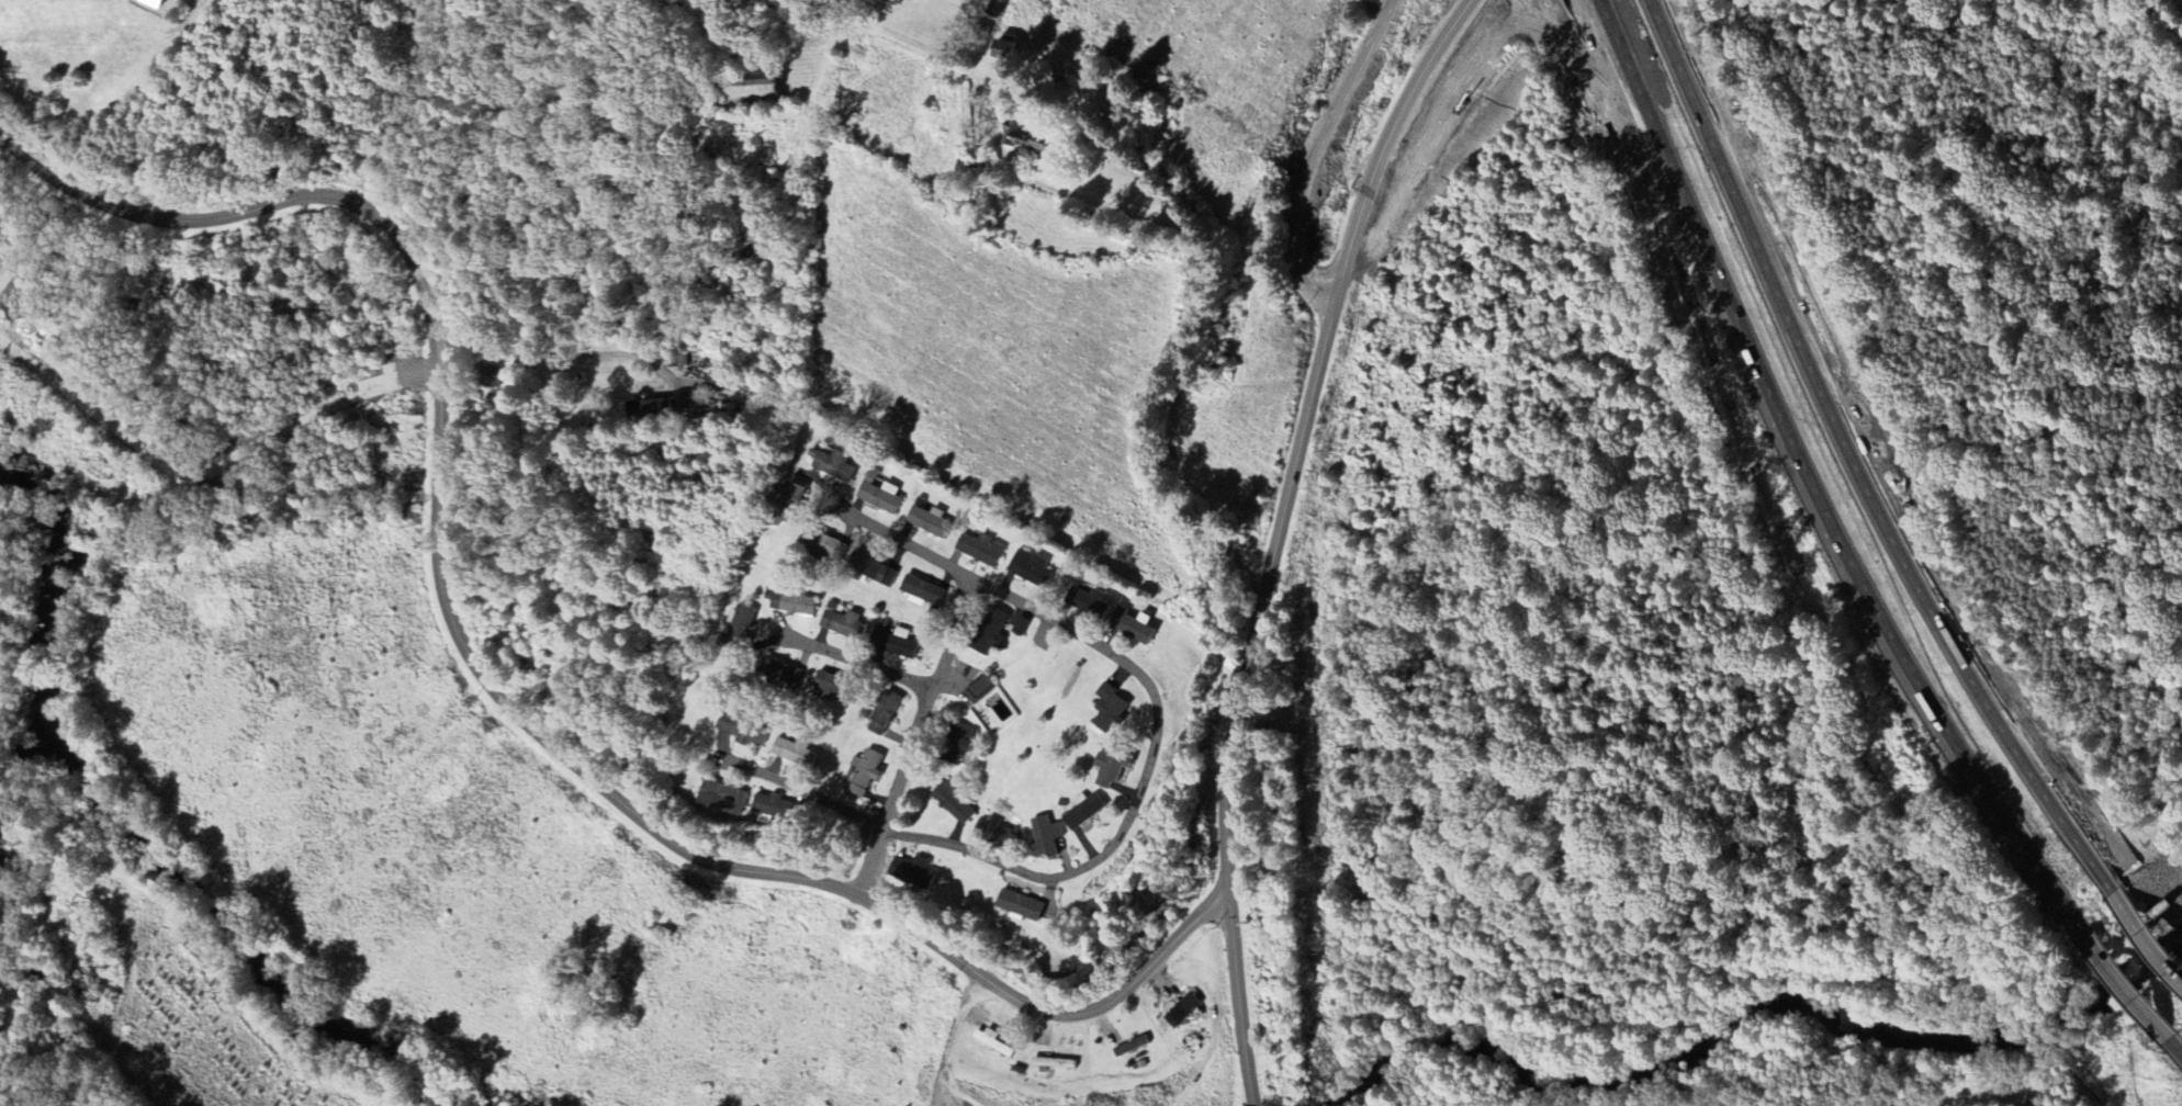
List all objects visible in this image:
building: (996, 8)
road: (1372, 14)
building: (981, 31)
building: (1003, 50)
building: (747, 91)
road: (1368, 95)
building: (1027, 140)
road: (1065, 193)
road: (1191, 312)
road: (554, 354)
building: (486, 379)
building: (646, 409)
road: (1309, 425)
road: (1858, 458)
building: (833, 467)
road: (1810, 474)
building: (877, 494)
building: (787, 499)
building: (925, 523)
building: (821, 548)
building: (978, 552)
building: (1027, 569)
building: (867, 571)
building: (920, 594)
building: (788, 602)
building: (1084, 603)
building: (837, 622)
building: (740, 623)
building: (1129, 625)
building: (988, 634)
building: (893, 644)
road: (858, 663)
building: (779, 675)
road: (488, 684)
building: (826, 685)
building: (978, 690)
building: (1106, 710)
building: (881, 715)
road: (1156, 716)
building: (746, 734)
road: (911, 737)
building: (957, 743)
building: (794, 754)
building: (1107, 770)
building: (863, 774)
road: (792, 789)
building: (721, 799)
building: (953, 804)
building: (768, 805)
building: (1081, 812)
building: (992, 834)
building: (1043, 838)
building: (911, 872)
building: (1019, 906)
road: (2144, 939)
road: (2117, 980)
road: (1239, 1002)
building: (1180, 1012)
building: (990, 1043)
road: (2173, 1046)
building: (1127, 1048)

